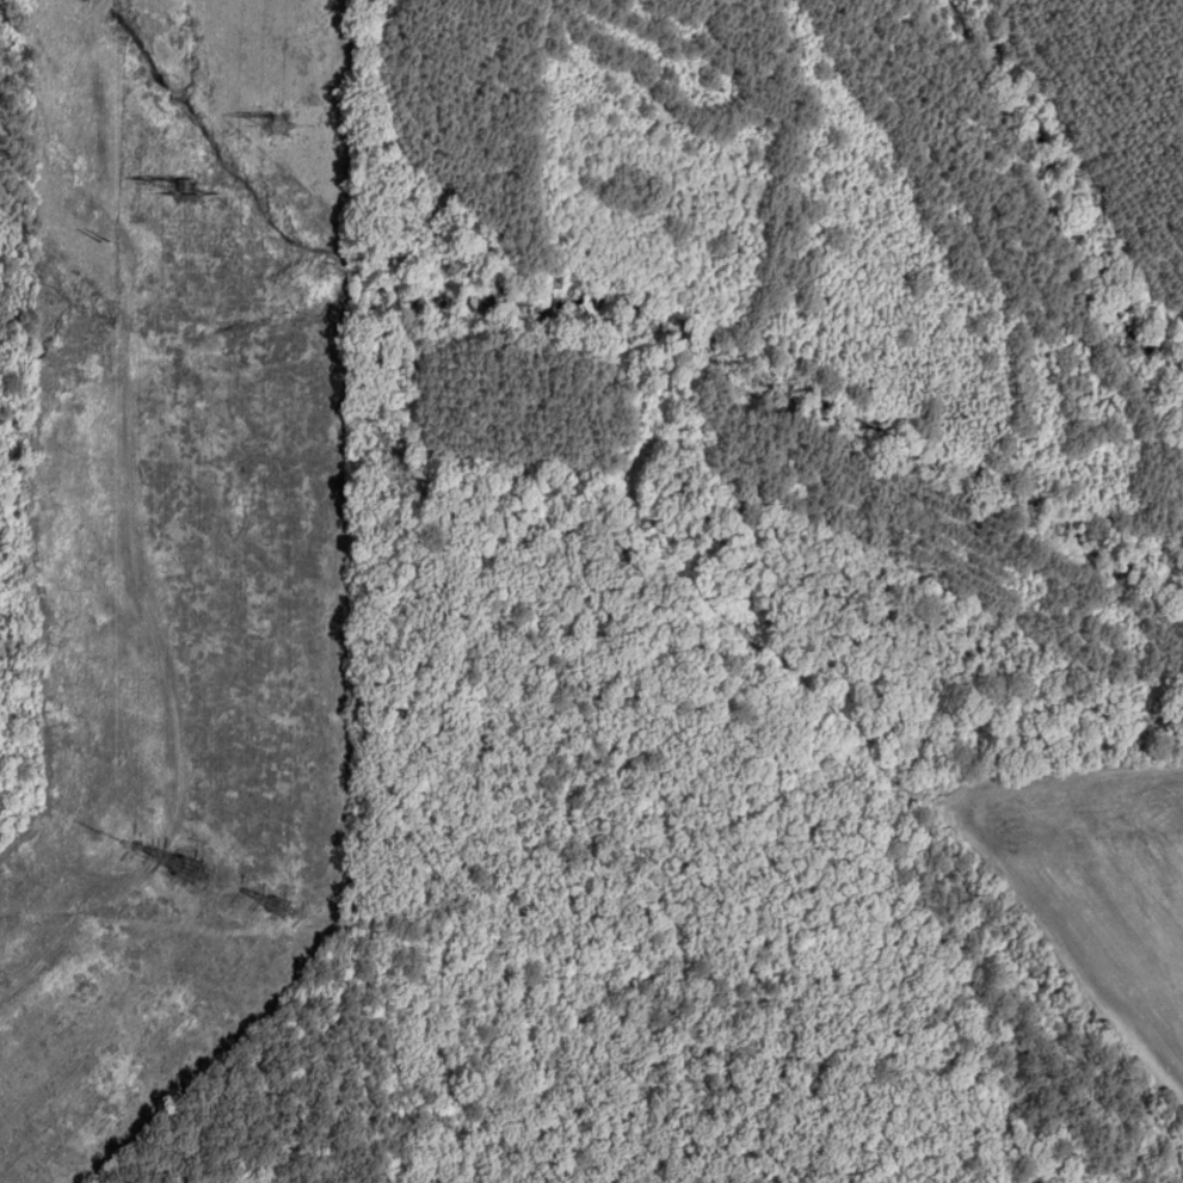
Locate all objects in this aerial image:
power tower: (271, 123)
power tower: (175, 185)
power tower: (175, 868)
power tower: (272, 904)

